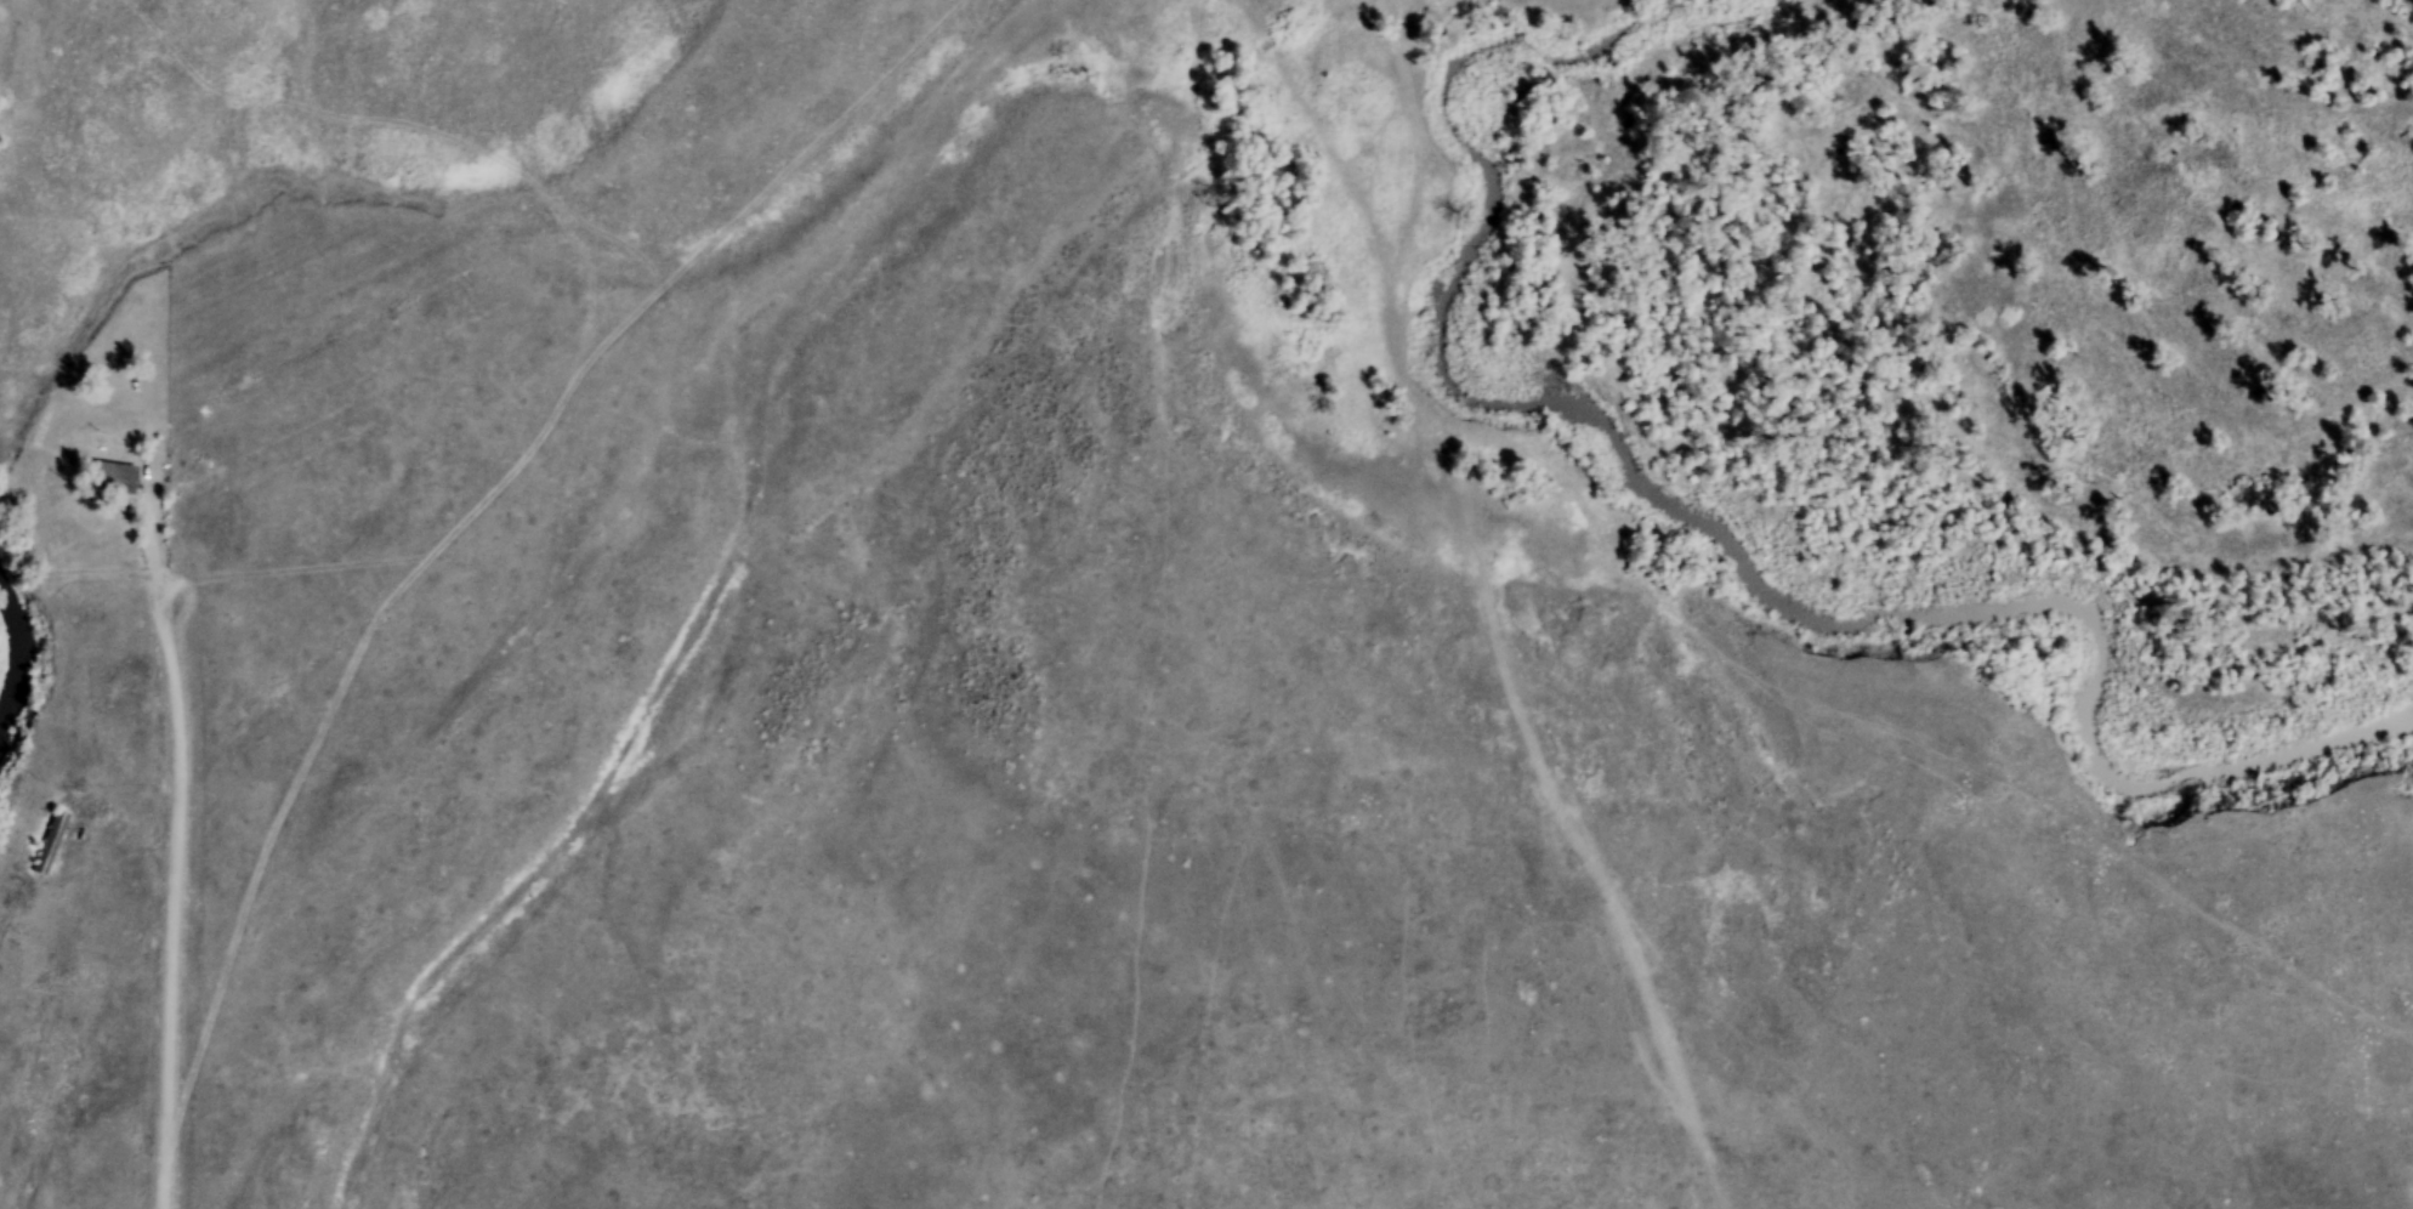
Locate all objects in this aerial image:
building: (112, 476)
river: (1656, 496)
river: (18, 658)
building: (50, 842)
road: (169, 864)

